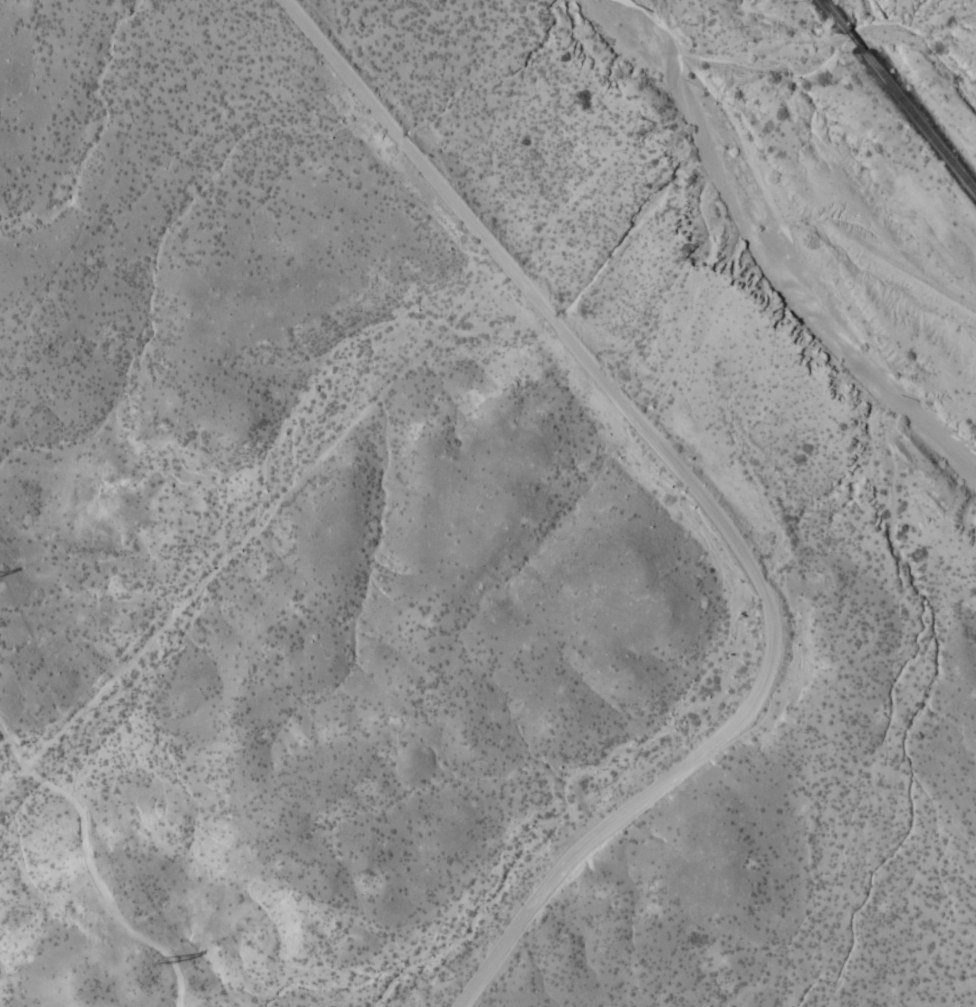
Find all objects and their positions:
railway: (833, 14)
railway: (854, 40)
railway: (919, 122)
road: (702, 497)
power tower: (155, 957)

